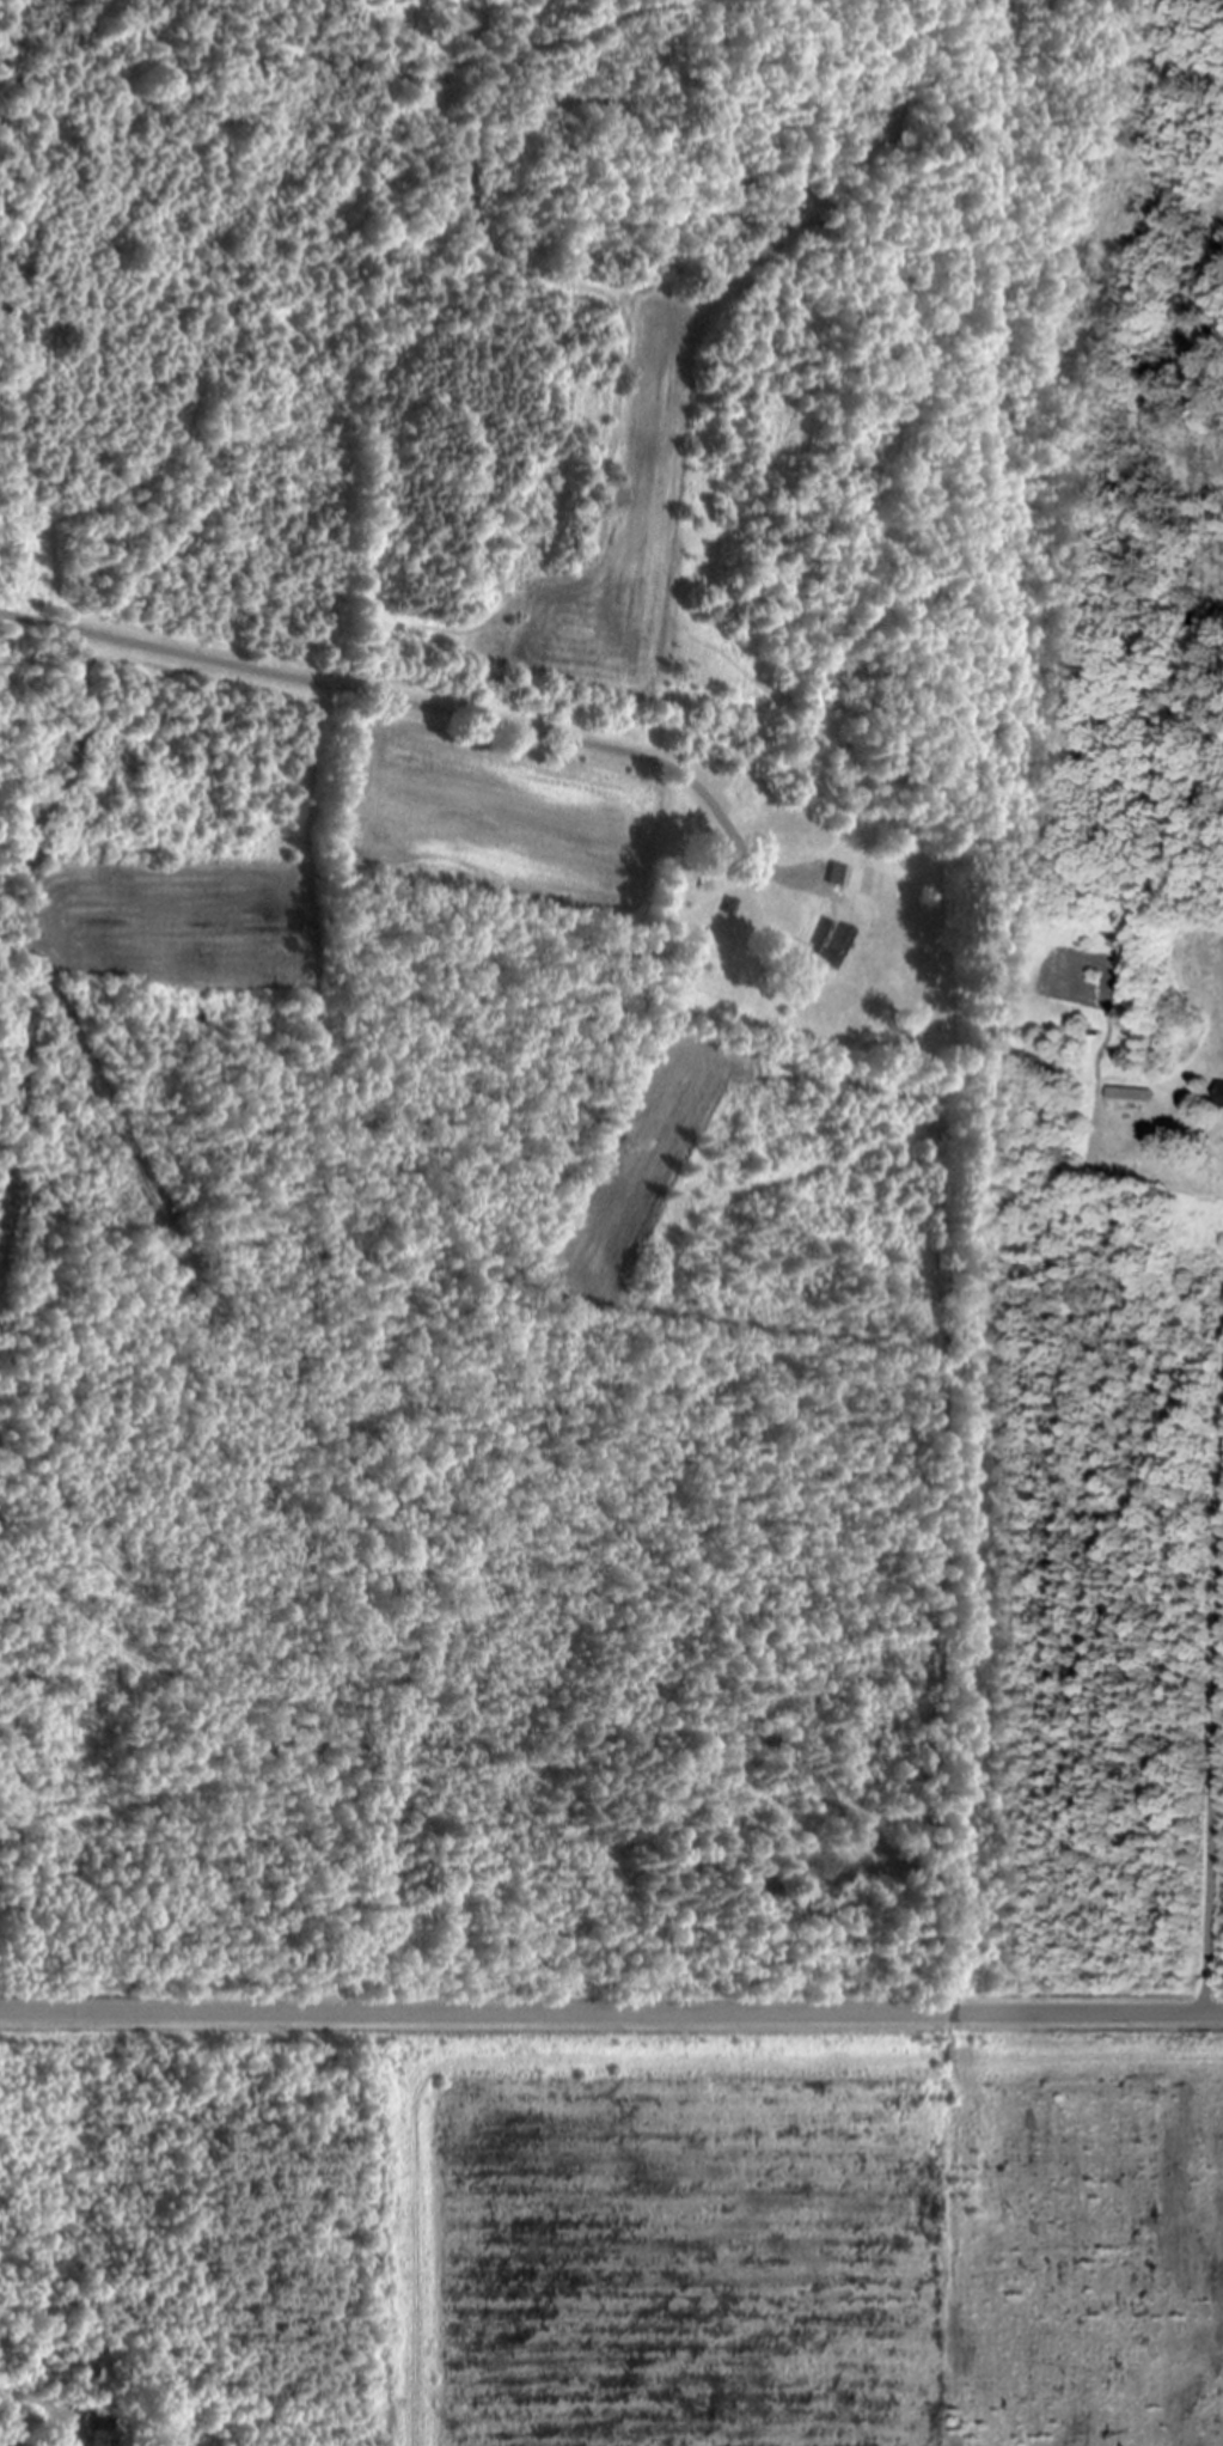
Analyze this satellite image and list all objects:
road: (398, 702)
building: (831, 943)
building: (1222, 1103)
road: (1212, 1714)
road: (611, 2007)
building: (104, 2439)

